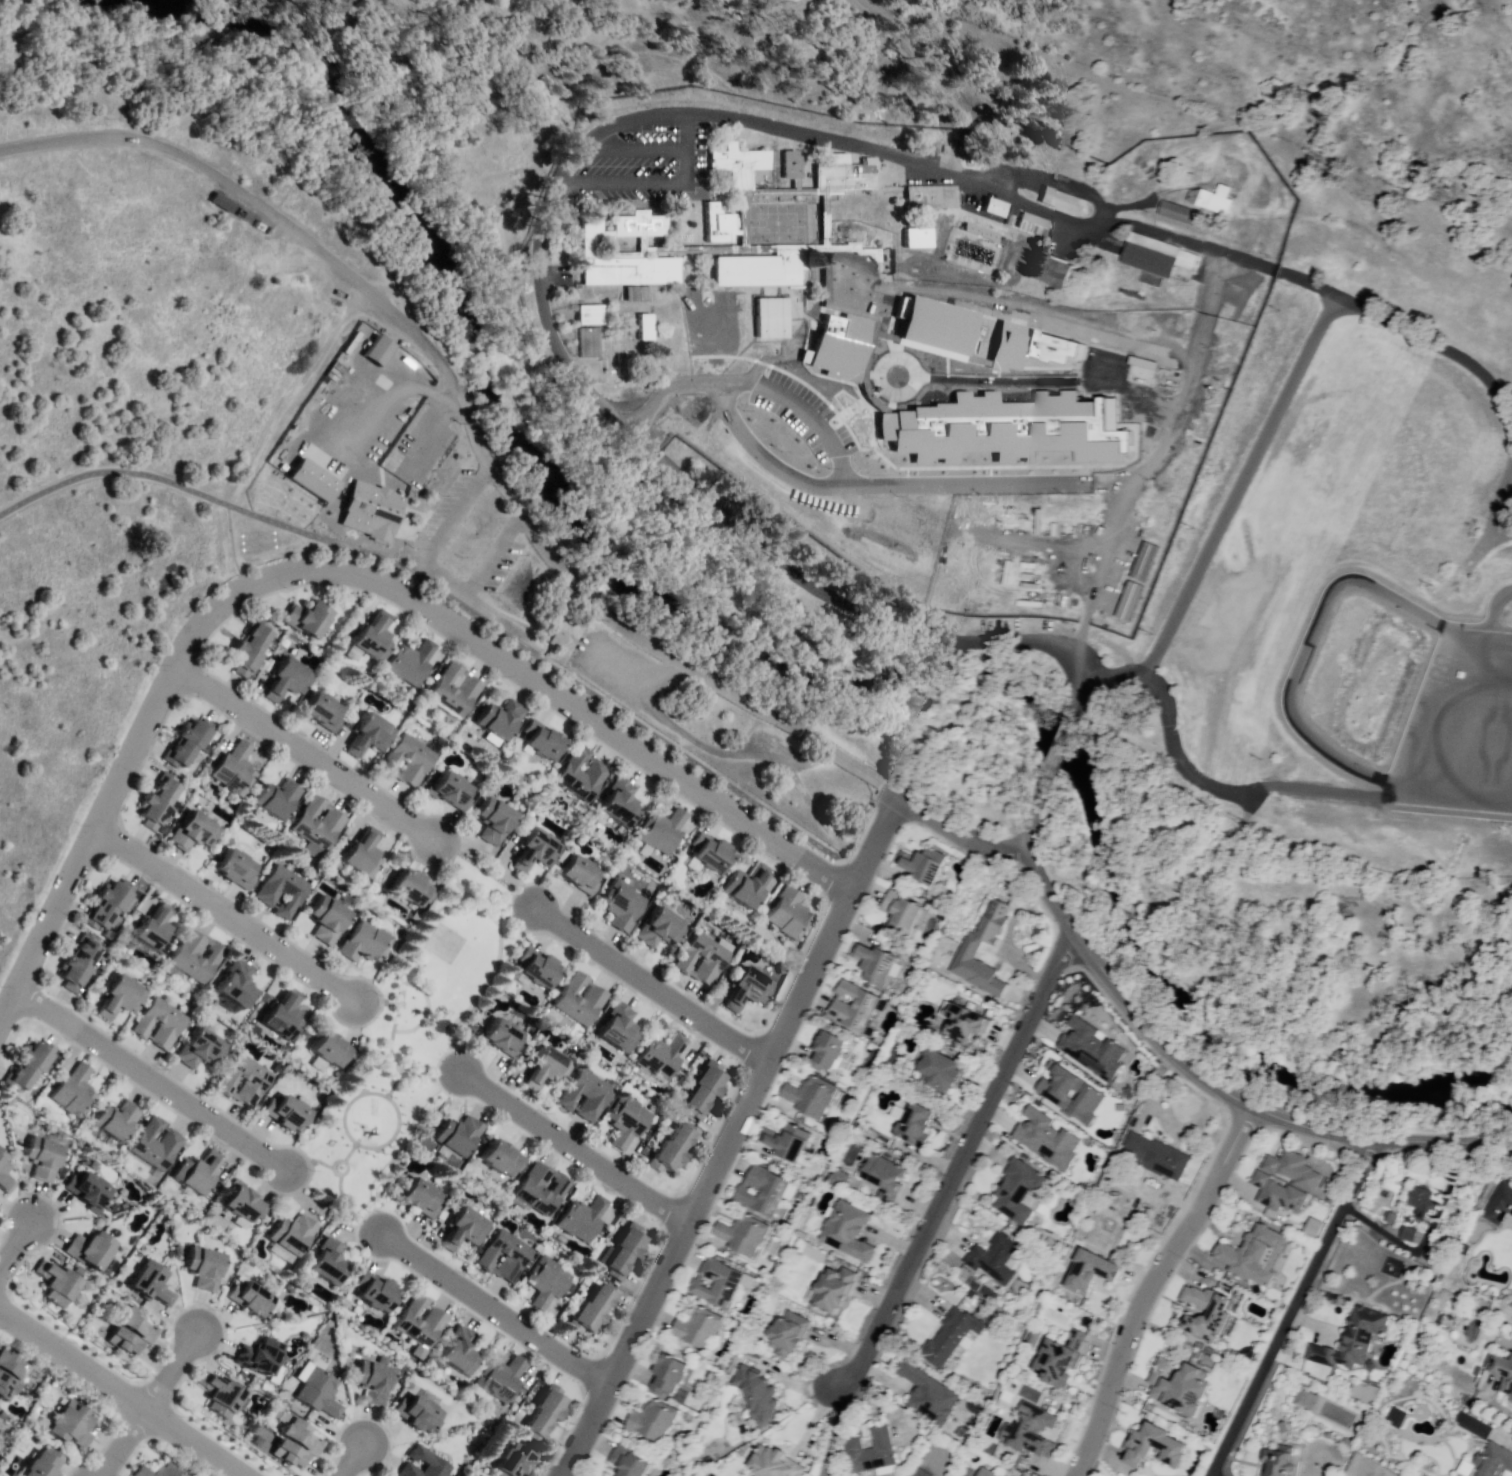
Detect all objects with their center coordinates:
building: (755, 1)
building: (780, 3)
road: (943, 89)
road: (241, 94)
road: (688, 133)
parking lot: (650, 164)
building: (740, 165)
building: (792, 165)
building: (840, 176)
road: (687, 184)
building: (1224, 193)
building: (928, 201)
building: (1063, 201)
building: (221, 202)
building: (994, 210)
building: (1181, 214)
park: (776, 222)
building: (1030, 223)
building: (640, 225)
building: (717, 225)
building: (919, 237)
building: (1146, 262)
building: (629, 270)
building: (753, 271)
building: (1051, 274)
building: (845, 283)
building: (632, 296)
road: (373, 300)
building: (590, 317)
road: (543, 318)
building: (769, 320)
building: (933, 326)
building: (644, 328)
building: (591, 342)
building: (1029, 347)
building: (375, 350)
street lamp: (915, 358)
road: (1462, 359)
street lamp: (787, 366)
road: (1001, 379)
street lamp: (942, 385)
street lamp: (979, 387)
street lamp: (1016, 387)
road: (670, 392)
road: (287, 393)
street lamp: (896, 405)
street lamp: (741, 410)
road: (809, 418)
street lamp: (849, 419)
building: (1006, 428)
road: (751, 447)
street lamp: (779, 451)
street lamp: (827, 468)
building: (305, 480)
road: (1064, 482)
road: (1237, 485)
street lamp: (893, 496)
parking lot: (447, 509)
building: (366, 512)
road: (244, 554)
building: (1143, 561)
road: (1099, 564)
parking lot: (491, 569)
road: (435, 571)
road: (338, 572)
street lamp: (284, 588)
road: (453, 597)
building: (1127, 600)
building: (313, 617)
road: (518, 622)
building: (556, 636)
building: (371, 638)
road: (1397, 644)
building: (250, 645)
building: (410, 660)
street lamp: (156, 664)
parking lot: (618, 668)
building: (288, 678)
road: (551, 680)
building: (455, 690)
road: (1080, 699)
street lamp: (588, 700)
street lamp: (206, 707)
building: (324, 710)
building: (503, 717)
building: (369, 733)
building: (547, 739)
building: (182, 744)
parking lot: (767, 744)
road: (1056, 744)
road: (302, 754)
road: (741, 757)
building: (409, 759)
street lamp: (629, 766)
building: (234, 767)
building: (581, 773)
street lamp: (134, 775)
building: (455, 789)
road: (1041, 789)
building: (276, 797)
building: (157, 802)
building: (618, 802)
building: (496, 820)
building: (318, 823)
street lamp: (77, 824)
building: (192, 829)
road: (1032, 829)
building: (661, 831)
building: (710, 848)
road: (960, 849)
building: (536, 850)
building: (364, 853)
building: (923, 863)
building: (237, 866)
road: (450, 867)
street lamp: (127, 869)
building: (580, 874)
building: (746, 882)
building: (412, 885)
building: (282, 889)
building: (622, 901)
street lamp: (860, 903)
building: (113, 906)
building: (903, 909)
building: (788, 912)
road: (517, 914)
road: (227, 916)
building: (327, 916)
road: (1063, 917)
street lamp: (1078, 917)
building: (660, 927)
building: (154, 929)
building: (365, 941)
road: (1061, 948)
building: (967, 952)
building: (194, 955)
building: (702, 958)
building: (81, 962)
road: (403, 963)
building: (874, 963)
building: (540, 969)
building: (236, 983)
road: (650, 986)
building: (748, 988)
street lamp: (1097, 991)
building: (120, 995)
building: (566, 998)
building: (854, 1003)
road: (426, 1004)
road: (377, 1007)
building: (281, 1015)
building: (162, 1023)
building: (618, 1026)
building: (964, 1027)
street lamp: (45, 1028)
road: (410, 1029)
building: (503, 1036)
park: (413, 1039)
building: (201, 1047)
building: (834, 1049)
building: (1090, 1049)
building: (330, 1050)
building: (662, 1055)
building: (27, 1066)
building: (548, 1066)
street lamp: (157, 1069)
building: (939, 1070)
road: (428, 1077)
building: (246, 1080)
road: (153, 1082)
building: (1070, 1084)
building: (704, 1089)
building: (73, 1090)
building: (586, 1093)
building: (809, 1096)
building: (287, 1109)
road: (1223, 1109)
building: (115, 1119)
building: (920, 1119)
building: (627, 1120)
building: (1046, 1128)
building: (459, 1133)
road: (1483, 1136)
road: (391, 1137)
road: (726, 1140)
building: (787, 1140)
road: (1441, 1143)
building: (156, 1145)
building: (674, 1145)
road: (572, 1147)
building: (43, 1158)
building: (503, 1158)
building: (1157, 1158)
road: (955, 1168)
building: (1290, 1168)
building: (883, 1173)
building: (195, 1175)
building: (5, 1176)
building: (89, 1187)
building: (765, 1187)
building: (540, 1189)
building: (1018, 1190)
building: (1275, 1194)
building: (424, 1198)
building: (1498, 1201)
building: (242, 1203)
building: (1417, 1205)
road: (347, 1208)
building: (581, 1218)
building: (847, 1222)
building: (465, 1228)
building: (1311, 1228)
building: (292, 1234)
building: (1407, 1234)
building: (742, 1236)
road: (16, 1244)
building: (92, 1250)
building: (625, 1251)
building: (1253, 1255)
building: (504, 1256)
building: (330, 1261)
building: (993, 1261)
building: (204, 1268)
building: (1097, 1271)
building: (832, 1276)
building: (54, 1281)
building: (150, 1282)
building: (548, 1283)
building: (718, 1283)
road: (1148, 1290)
building: (379, 1293)
building: (252, 1296)
road: (494, 1309)
road: (1289, 1310)
building: (591, 1311)
building: (1203, 1314)
building: (433, 1322)
building: (141, 1324)
building: (697, 1328)
building: (790, 1334)
building: (951, 1335)
building: (1032, 1336)
building: (1351, 1341)
building: (125, 1342)
building: (459, 1352)
building: (1064, 1356)
building: (259, 1357)
building: (10, 1365)
road: (173, 1371)
building: (672, 1374)
building: (1501, 1378)
building: (501, 1380)
building: (375, 1383)
building: (1180, 1384)
building: (6, 1388)
building: (316, 1391)
building: (928, 1391)
road: (121, 1392)
building: (221, 1395)
building: (760, 1395)
building: (417, 1412)
building: (544, 1413)
building: (1395, 1417)
building: (653, 1422)
building: (69, 1425)
building: (1472, 1425)
road: (830, 1431)
building: (1033, 1431)
building: (302, 1435)
road: (123, 1443)
building: (1155, 1445)
building: (886, 1446)
building: (288, 1456)
building: (1276, 1458)
building: (424, 1459)
building: (514, 1460)
road: (355, 1461)
building: (775, 1461)
building: (1490, 1461)
building: (631, 1462)
building: (44, 1465)
building: (159, 1470)
building: (985, 1473)

